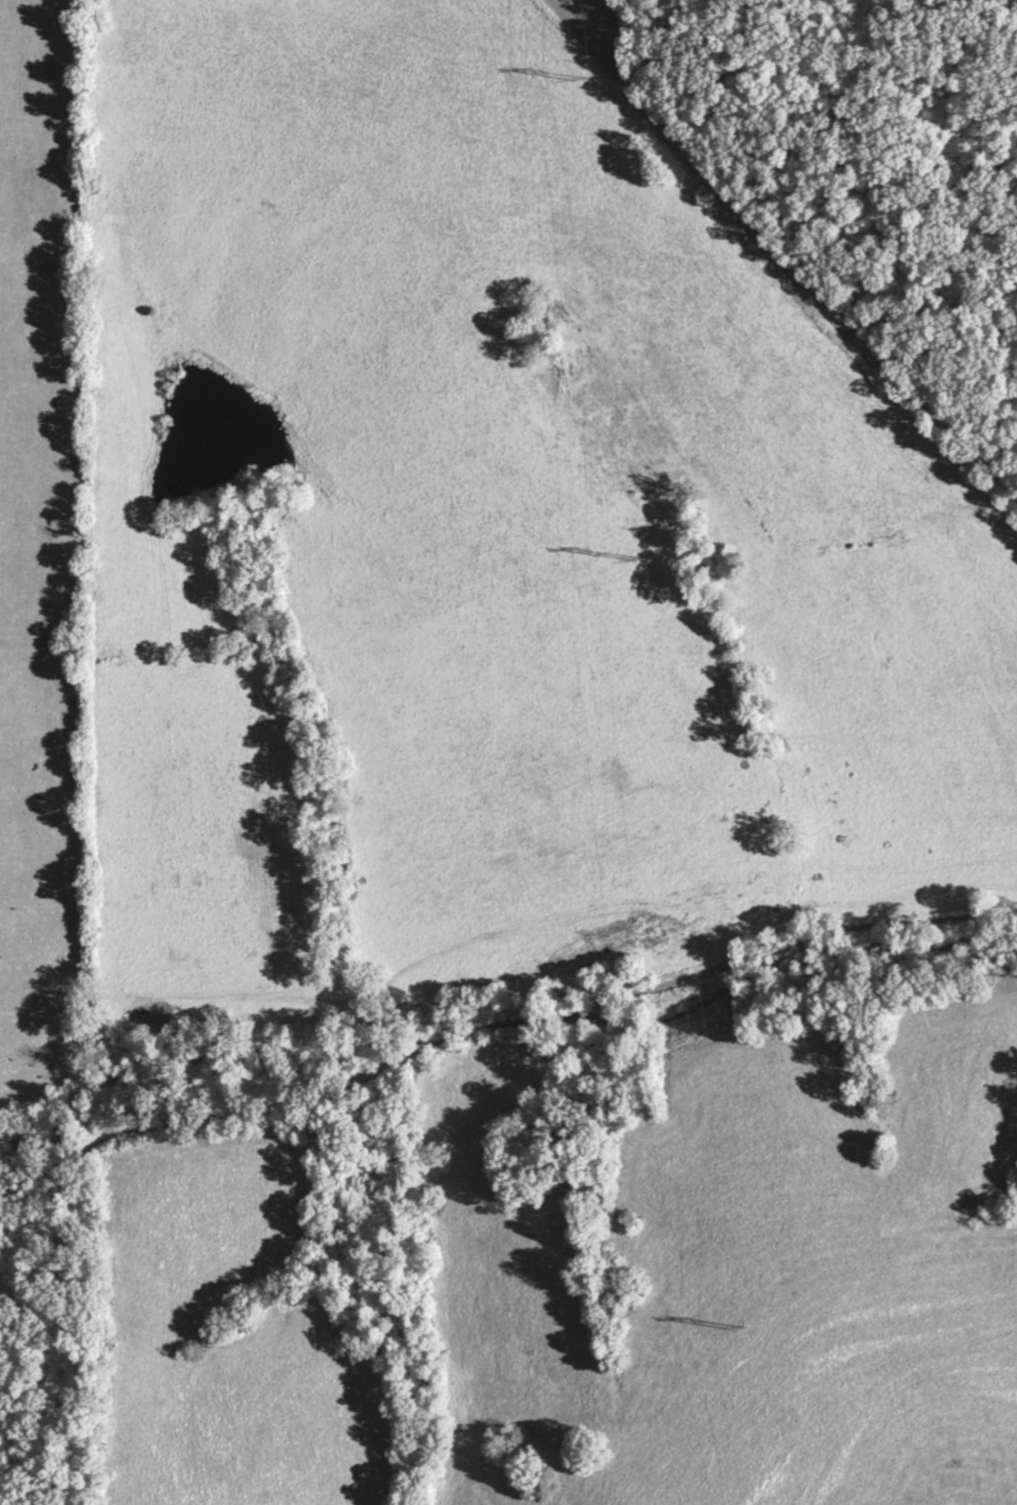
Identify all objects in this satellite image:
power tower: (580, 81)
road: (774, 256)
power tower: (640, 558)
building: (396, 993)
road: (503, 1033)
power tower: (737, 1329)

